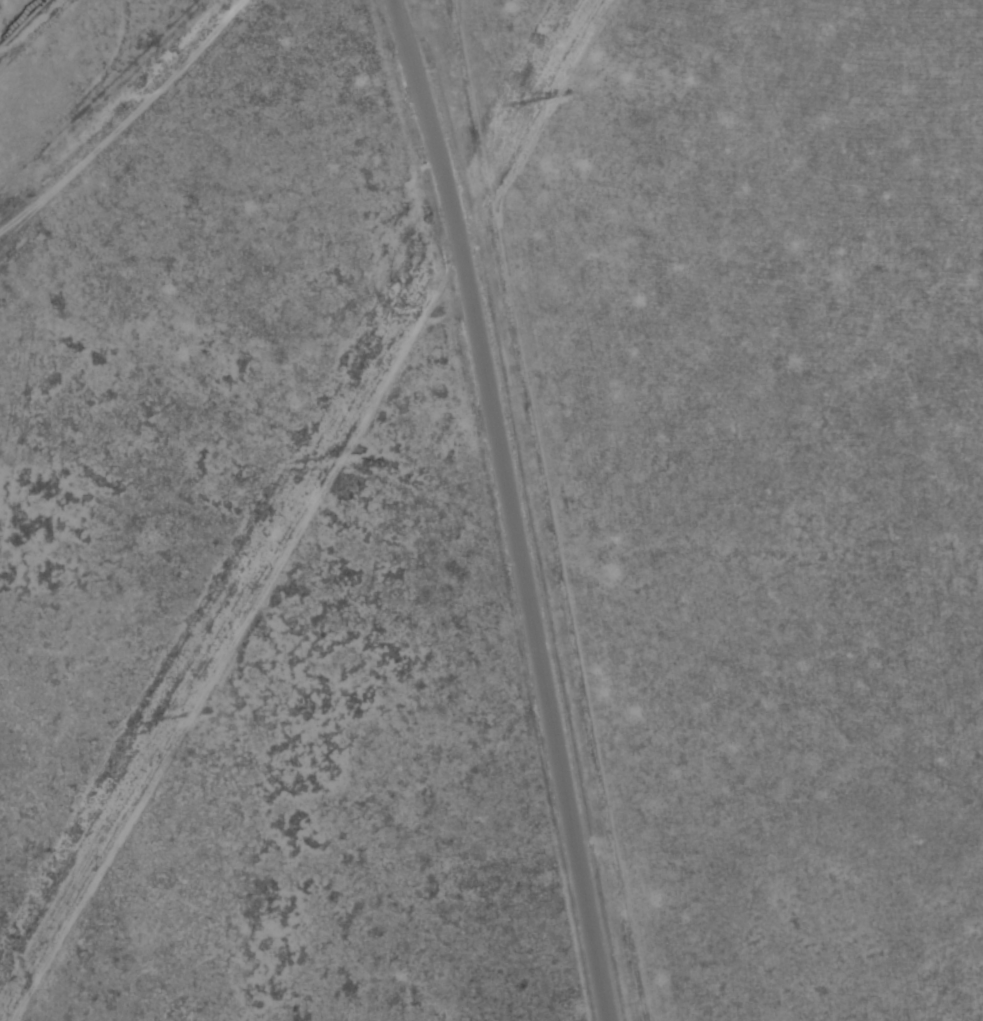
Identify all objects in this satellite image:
building: (26, 16)
road: (505, 508)

